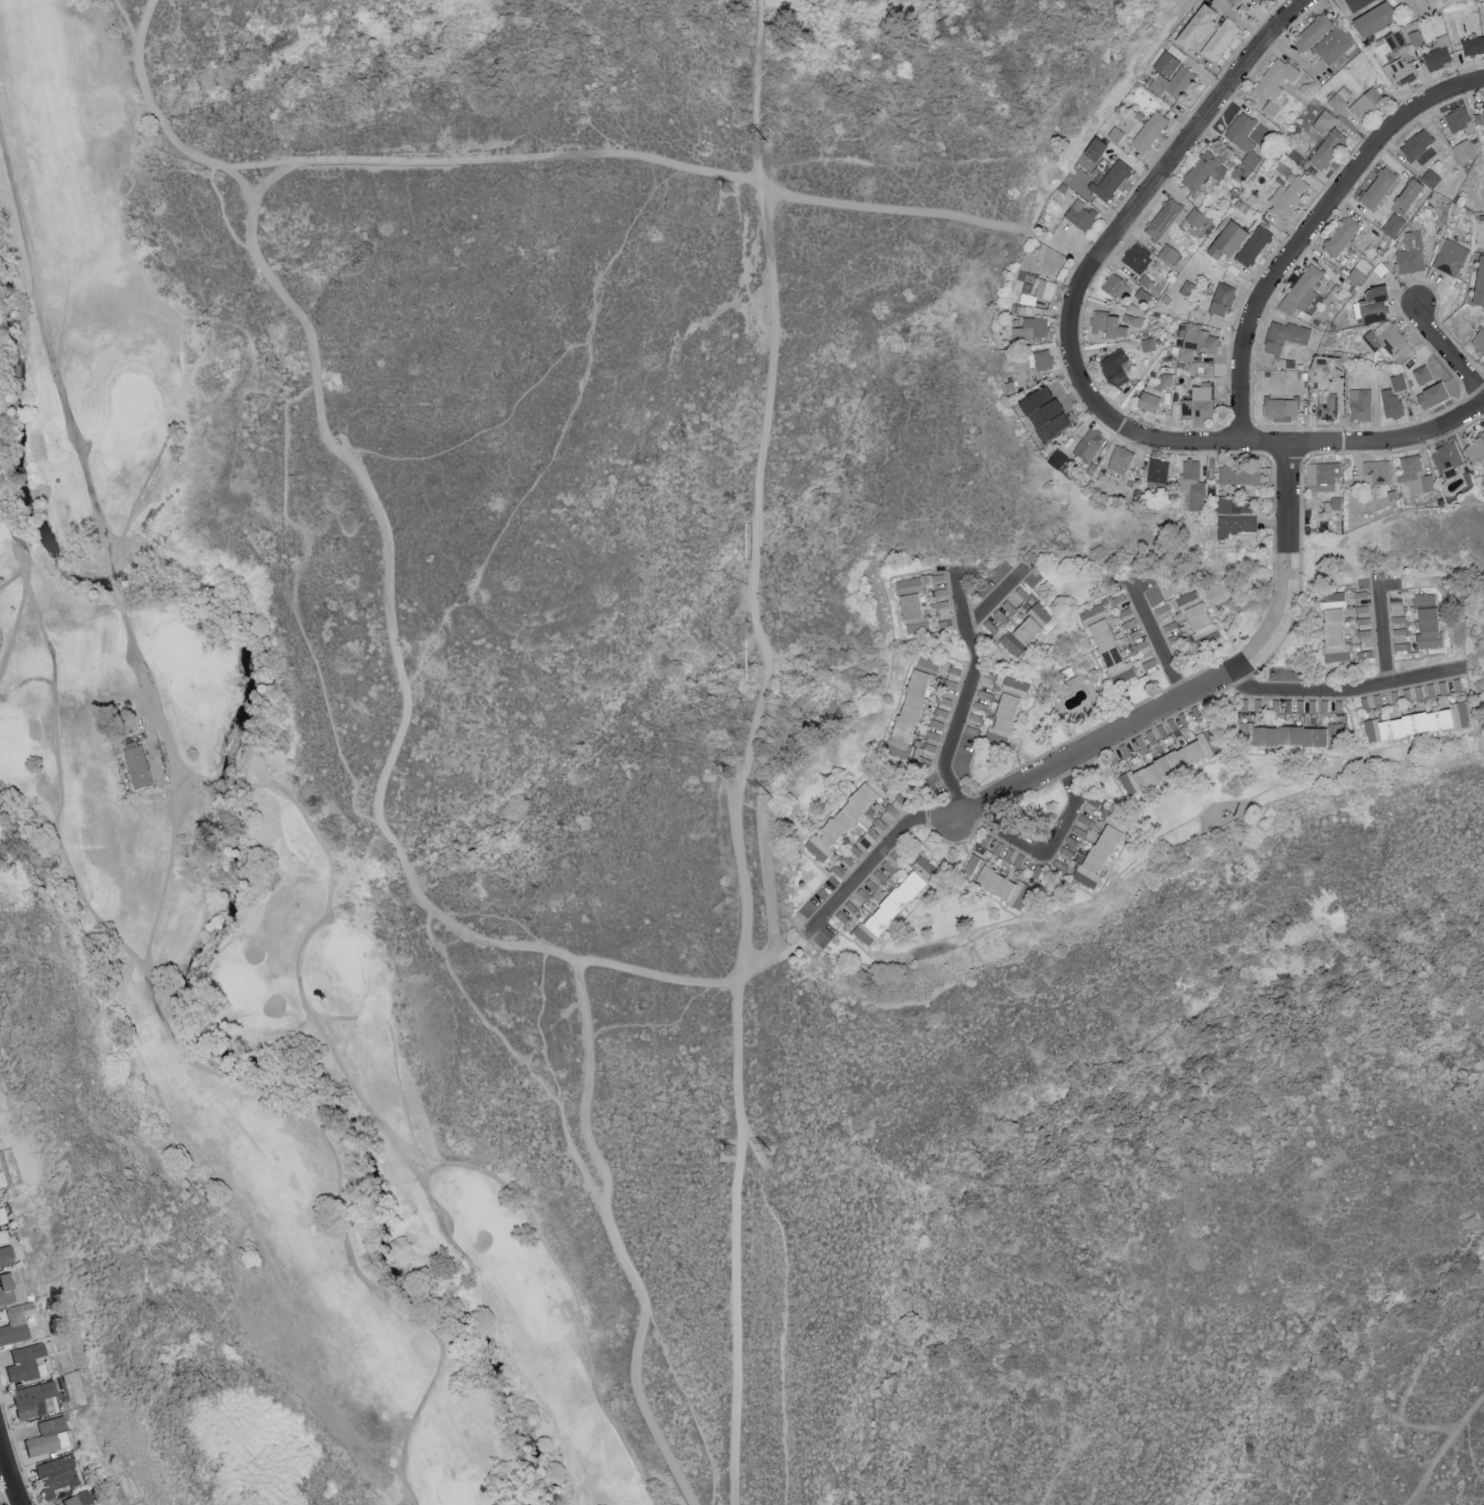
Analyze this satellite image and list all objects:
building: (1230, 0)
building: (1264, 1)
building: (1357, 3)
building: (1374, 18)
road: (144, 23)
road: (122, 24)
building: (1197, 24)
building: (1312, 31)
building: (1415, 36)
building: (1220, 38)
building: (1395, 39)
building: (1443, 39)
building: (1473, 44)
building: (1332, 45)
building: (1176, 51)
building: (1437, 57)
road: (1368, 58)
building: (1166, 63)
building: (1400, 70)
building: (1273, 78)
building: (1171, 81)
building: (1340, 97)
building: (1366, 102)
building: (1270, 108)
building: (1480, 115)
building: (1458, 118)
building: (1324, 121)
building: (1149, 130)
building: (1243, 136)
road: (173, 137)
power tower: (767, 144)
building: (1418, 145)
building: (1327, 148)
building: (1464, 150)
road: (646, 157)
building: (1203, 170)
building: (1241, 171)
building: (1430, 177)
building: (1109, 179)
building: (1377, 187)
power tower: (731, 189)
building: (1408, 193)
building: (1287, 195)
building: (1080, 214)
building: (1196, 217)
building: (1162, 218)
building: (1393, 224)
road: (1313, 233)
building: (1340, 235)
building: (1227, 239)
building: (1253, 244)
road: (1106, 250)
park: (297, 251)
building: (1410, 252)
building: (1169, 253)
road: (1075, 255)
building: (1450, 256)
building: (1136, 257)
building: (1358, 270)
building: (1145, 280)
building: (1479, 282)
building: (1117, 285)
building: (1186, 287)
building: (1301, 289)
building: (1039, 291)
building: (1142, 294)
building: (1221, 298)
building: (1372, 304)
building: (1132, 319)
building: (1471, 319)
building: (1108, 323)
building: (1031, 328)
building: (1388, 337)
building: (1479, 337)
building: (1196, 340)
building: (1274, 341)
building: (1147, 343)
road: (1447, 349)
building: (1042, 358)
building: (1112, 361)
building: (1422, 374)
building: (1118, 377)
building: (1167, 379)
building: (1398, 381)
building: (1432, 394)
building: (1149, 398)
park: (134, 399)
building: (1198, 401)
building: (1360, 403)
building: (1391, 403)
building: (1327, 404)
building: (1281, 405)
building: (1044, 412)
road: (1366, 442)
building: (1089, 443)
building: (1475, 447)
building: (1058, 458)
building: (1447, 458)
building: (1120, 459)
building: (1157, 469)
building: (1376, 470)
building: (1238, 473)
building: (1323, 473)
building: (1415, 474)
building: (1192, 483)
building: (1233, 505)
building: (1236, 523)
park: (0, 544)
road: (1388, 586)
building: (1337, 597)
road: (389, 598)
road: (752, 598)
road: (998, 598)
building: (1423, 599)
road: (294, 601)
building: (911, 605)
building: (1362, 608)
building: (1162, 609)
building: (1000, 615)
building: (1197, 619)
building: (1362, 621)
building: (989, 626)
road: (1384, 627)
building: (1428, 627)
building: (1026, 629)
building: (1364, 632)
road: (937, 637)
building: (1338, 637)
building: (1106, 642)
road: (1160, 644)
building: (1402, 648)
park: (182, 649)
road: (946, 659)
building: (928, 661)
building: (954, 670)
building: (951, 683)
road: (1215, 683)
building: (1443, 687)
building: (1458, 689)
road: (1347, 690)
road: (969, 694)
building: (984, 694)
building: (943, 700)
road: (893, 711)
building: (940, 711)
building: (1005, 711)
building: (908, 713)
building: (976, 717)
road: (160, 719)
road: (1350, 719)
building: (1418, 722)
building: (1243, 732)
building: (1289, 735)
building: (1331, 736)
park: (14, 746)
building: (1169, 762)
building: (137, 766)
road: (1198, 769)
power tower: (730, 772)
power tower: (770, 794)
park: (635, 803)
building: (841, 821)
road: (1137, 825)
road: (1169, 831)
road: (942, 839)
building: (997, 848)
road: (1053, 848)
road: (887, 850)
building: (1066, 852)
building: (1097, 855)
building: (1019, 860)
park: (249, 861)
building: (972, 866)
building: (923, 867)
road: (168, 874)
building: (1002, 885)
road: (930, 894)
road: (981, 896)
building: (851, 907)
building: (888, 908)
road: (812, 928)
road: (826, 931)
road: (778, 954)
park: (350, 963)
road: (655, 977)
park: (241, 987)
road: (517, 1055)
road: (197, 1058)
power tower: (735, 1152)
power tower: (772, 1152)
park: (480, 1209)
building: (0, 1221)
road: (615, 1238)
road: (553, 1251)
building: (5, 1256)
building: (4, 1290)
building: (12, 1326)
road: (738, 1350)
building: (23, 1363)
building: (29, 1400)
building: (45, 1437)
road: (1442, 1448)
road: (10, 1471)
building: (53, 1476)
park: (455, 1494)
building: (77, 1499)

